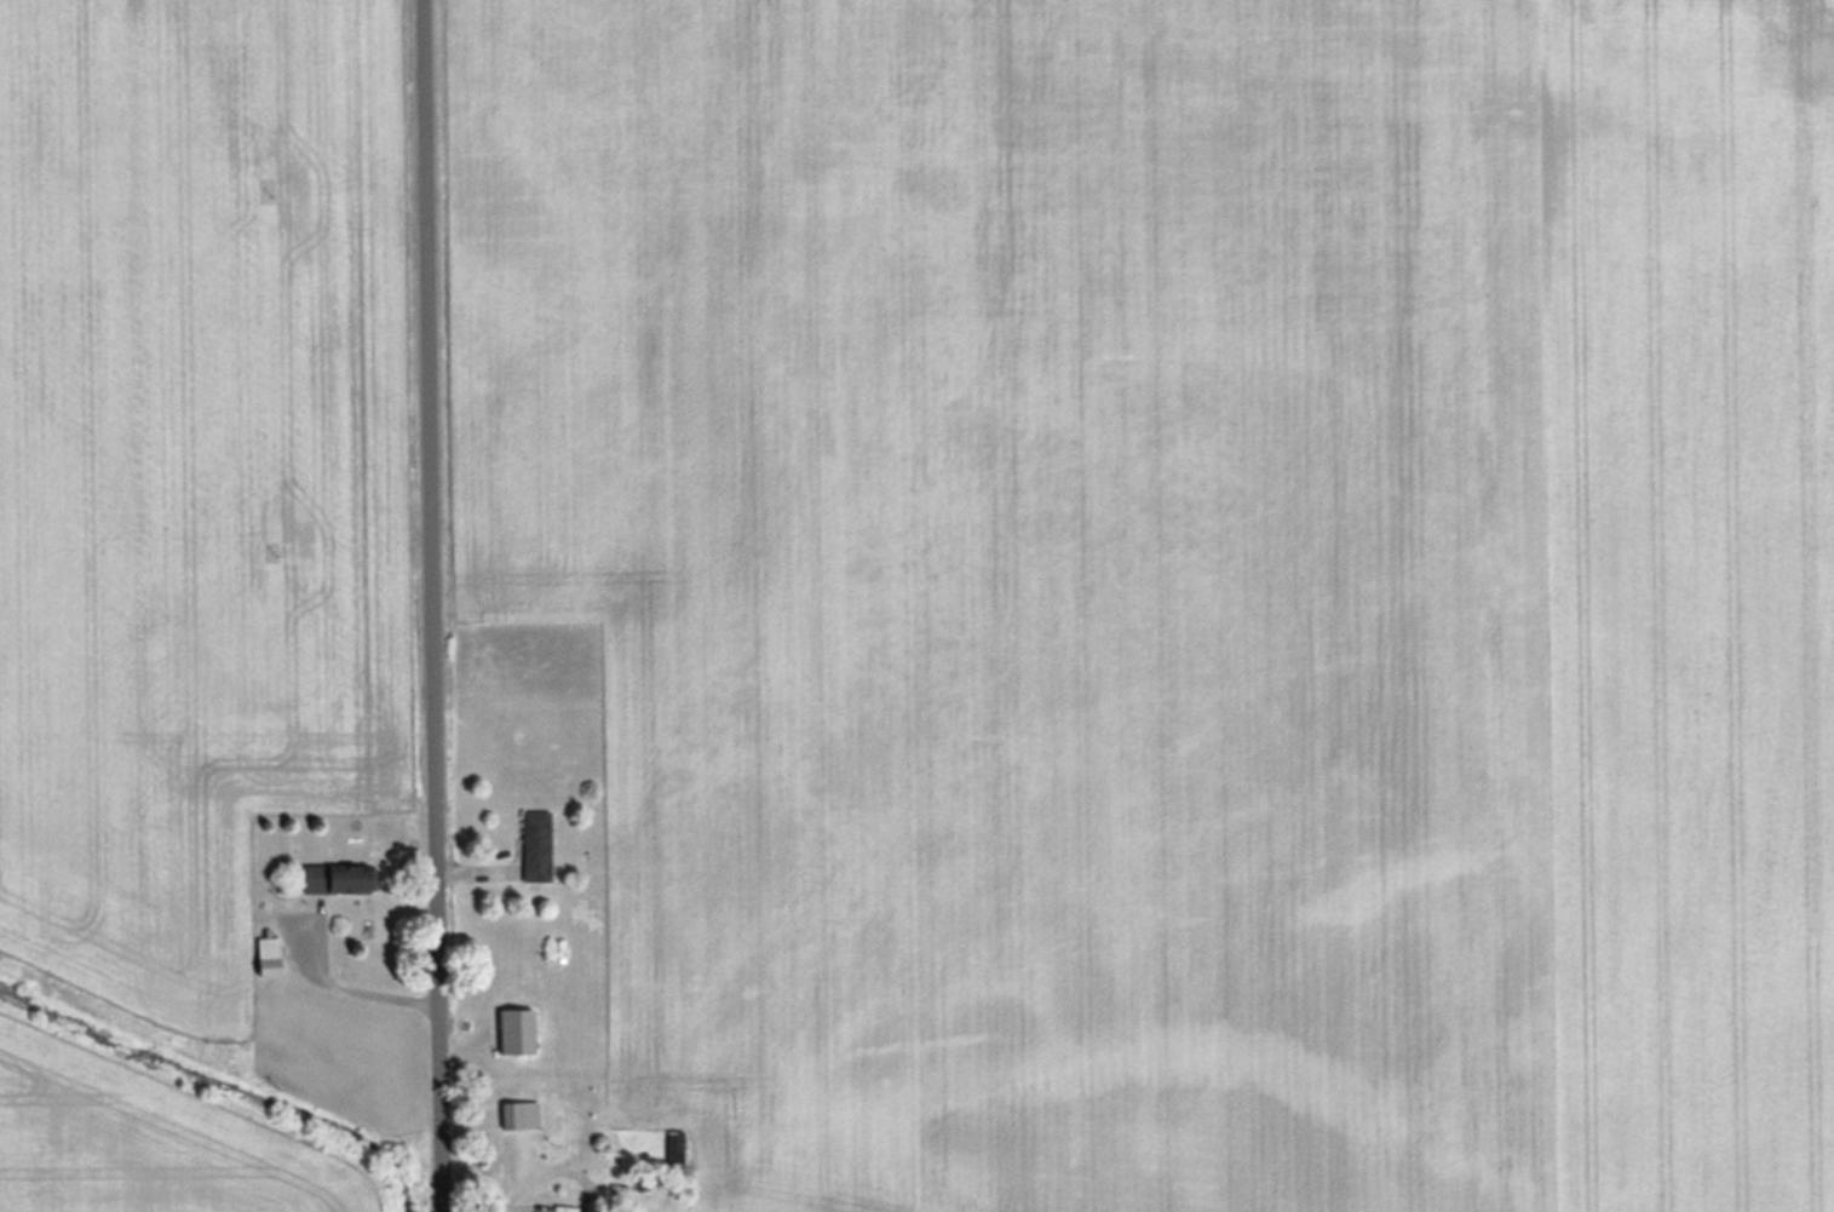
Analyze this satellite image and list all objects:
road: (435, 605)
building: (535, 845)
building: (338, 878)
building: (268, 955)
building: (516, 1032)
building: (519, 1115)

